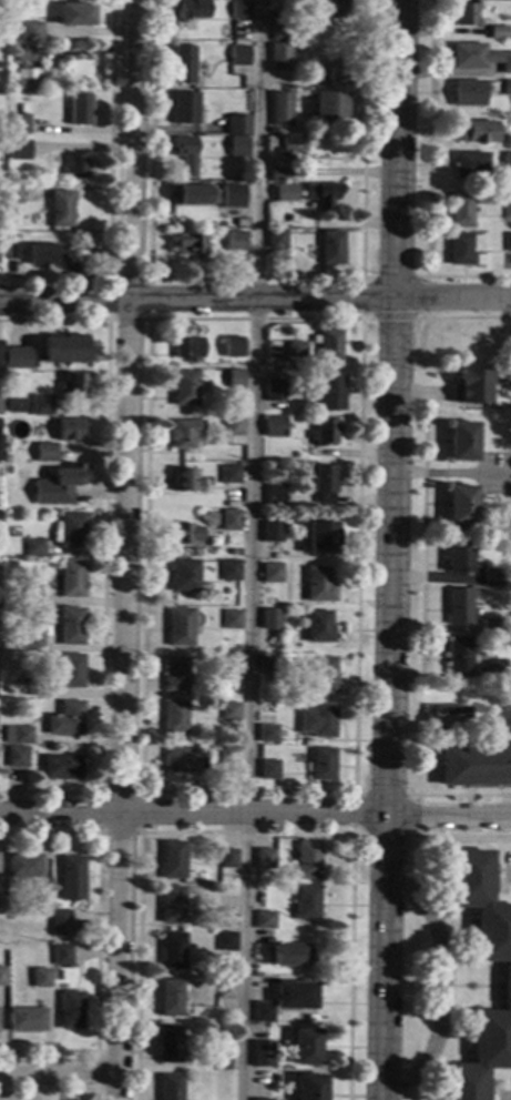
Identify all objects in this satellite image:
building: (190, 8)
building: (331, 8)
building: (241, 9)
building: (75, 16)
building: (464, 16)
building: (0, 18)
building: (32, 30)
building: (282, 32)
building: (498, 33)
building: (302, 47)
building: (25, 53)
building: (241, 57)
building: (280, 58)
building: (296, 58)
building: (478, 58)
building: (183, 64)
building: (331, 72)
building: (27, 80)
building: (507, 88)
building: (468, 93)
building: (329, 105)
building: (185, 108)
building: (280, 109)
building: (80, 110)
building: (19, 123)
building: (237, 125)
building: (478, 132)
building: (509, 143)
building: (239, 147)
building: (287, 148)
building: (19, 150)
building: (185, 154)
building: (508, 161)
building: (470, 165)
building: (75, 169)
building: (278, 174)
road: (427, 180)
road: (110, 193)
building: (286, 193)
building: (14, 194)
building: (192, 195)
building: (323, 195)
building: (233, 196)
building: (507, 206)
building: (9, 208)
building: (61, 210)
building: (459, 211)
building: (277, 240)
building: (235, 242)
building: (508, 243)
building: (190, 246)
building: (329, 249)
building: (13, 250)
building: (462, 251)
building: (41, 255)
road: (394, 276)
road: (254, 277)
road: (255, 299)
road: (392, 316)
road: (468, 317)
road: (108, 320)
building: (328, 345)
building: (233, 347)
building: (64, 349)
building: (188, 349)
building: (296, 350)
building: (0, 356)
building: (17, 359)
building: (236, 379)
building: (73, 384)
building: (470, 386)
building: (185, 388)
building: (275, 391)
building: (327, 393)
building: (0, 396)
building: (42, 404)
building: (14, 405)
building: (234, 426)
building: (275, 426)
building: (71, 430)
building: (324, 432)
building: (185, 433)
building: (462, 442)
building: (241, 443)
building: (45, 453)
building: (7, 471)
building: (229, 475)
building: (185, 482)
building: (321, 483)
building: (59, 485)
building: (275, 496)
building: (460, 505)
building: (231, 521)
building: (72, 531)
building: (273, 533)
building: (185, 534)
building: (321, 537)
road: (422, 543)
building: (34, 547)
road: (125, 549)
road: (252, 549)
road: (387, 549)
road: (103, 552)
building: (458, 557)
building: (229, 571)
building: (272, 574)
building: (184, 576)
building: (492, 577)
building: (72, 578)
building: (316, 586)
building: (33, 595)
building: (458, 607)
building: (231, 619)
building: (272, 619)
building: (71, 627)
building: (180, 627)
building: (318, 627)
building: (490, 627)
building: (29, 642)
building: (458, 656)
building: (272, 666)
building: (231, 669)
building: (71, 670)
building: (494, 670)
building: (175, 675)
building: (324, 676)
road: (443, 677)
building: (24, 690)
building: (229, 712)
building: (444, 716)
building: (175, 717)
building: (65, 719)
building: (318, 720)
building: (268, 734)
building: (17, 735)
building: (228, 754)
building: (17, 757)
building: (184, 761)
building: (323, 764)
building: (476, 765)
building: (61, 768)
building: (269, 770)
road: (354, 789)
road: (461, 795)
road: (255, 815)
road: (354, 829)
road: (247, 831)
road: (100, 832)
road: (444, 836)
building: (228, 859)
building: (266, 859)
building: (174, 860)
building: (308, 860)
building: (24, 866)
road: (509, 872)
building: (72, 874)
building: (172, 904)
building: (308, 904)
building: (40, 905)
building: (2, 906)
building: (226, 918)
building: (61, 919)
building: (265, 920)
road: (459, 934)
road: (98, 940)
building: (226, 941)
building: (172, 951)
building: (292, 955)
building: (61, 956)
building: (2, 977)
building: (505, 977)
building: (40, 978)
road: (450, 983)
road: (456, 985)
road: (476, 985)
road: (441, 986)
road: (489, 986)
building: (226, 989)
building: (295, 996)
building: (171, 998)
building: (70, 1010)
building: (264, 1012)
building: (27, 1020)
road: (457, 1036)
building: (170, 1045)
building: (306, 1048)
road: (95, 1051)
building: (262, 1054)
building: (221, 1060)
road: (57, 1074)
building: (170, 1087)
building: (310, 1088)
road: (51, 1092)
building: (260, 1099)

